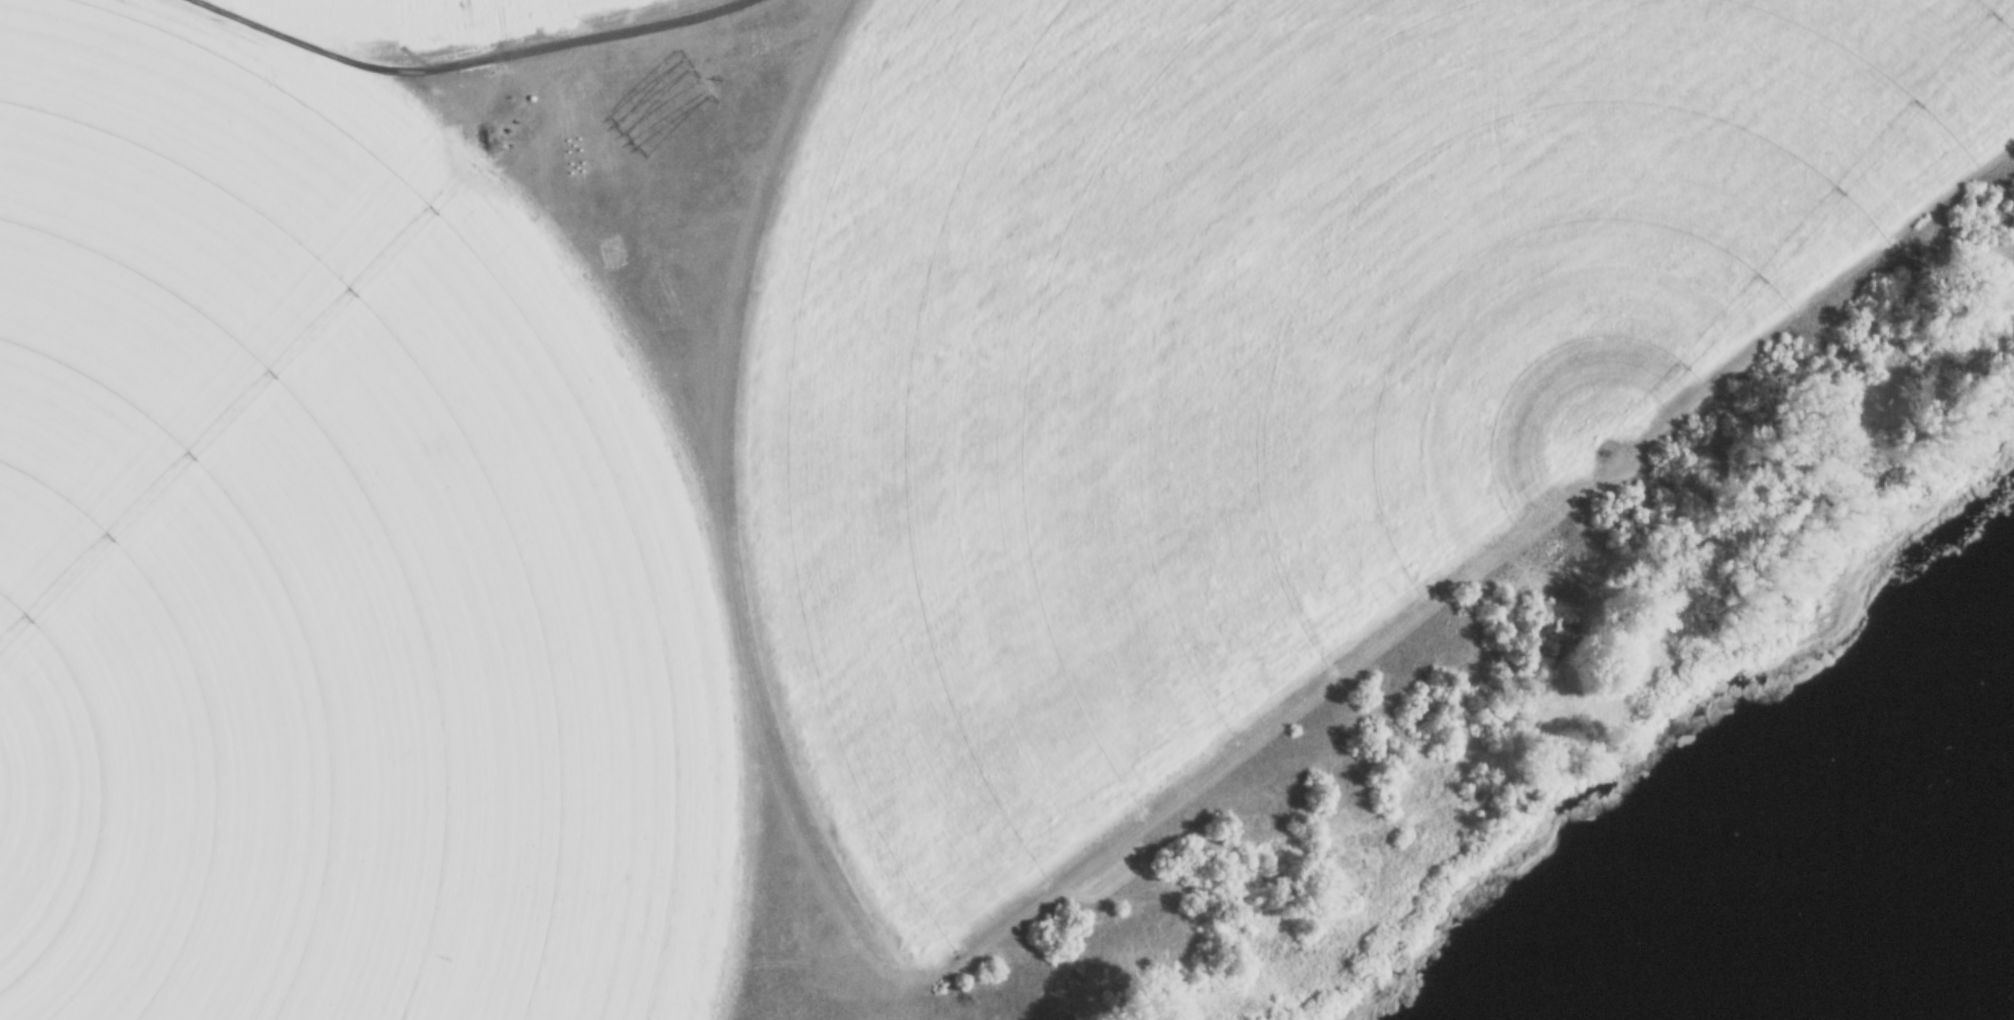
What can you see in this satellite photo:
road: (451, 50)

